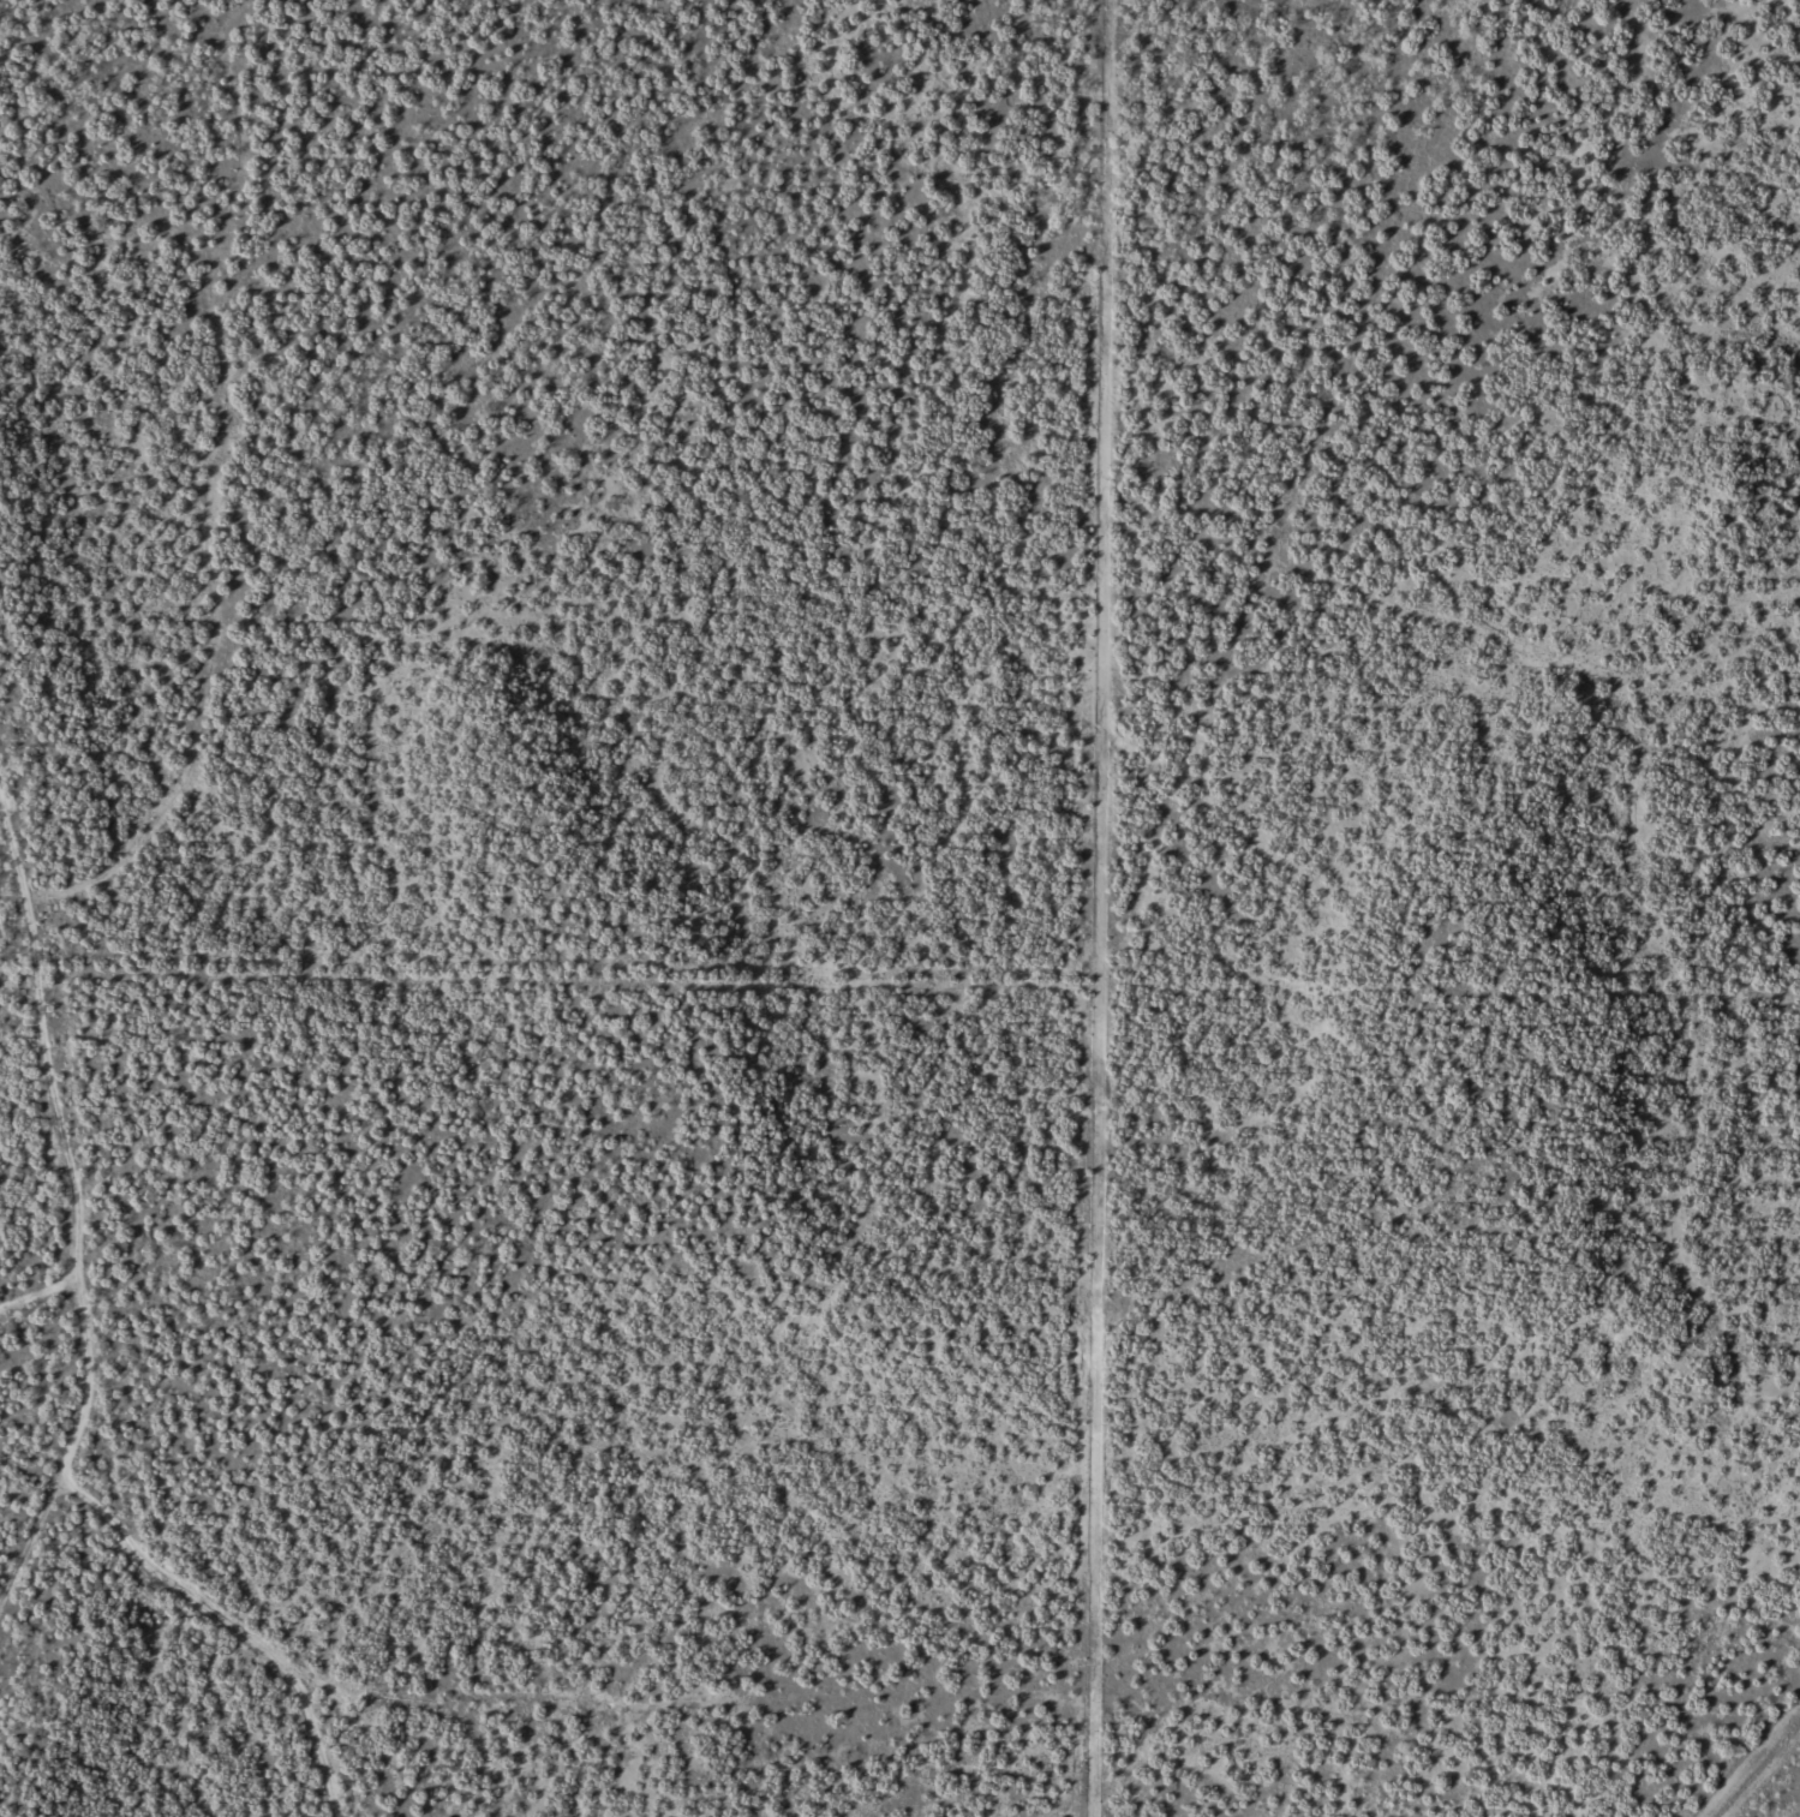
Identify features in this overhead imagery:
road: (107, 940)

